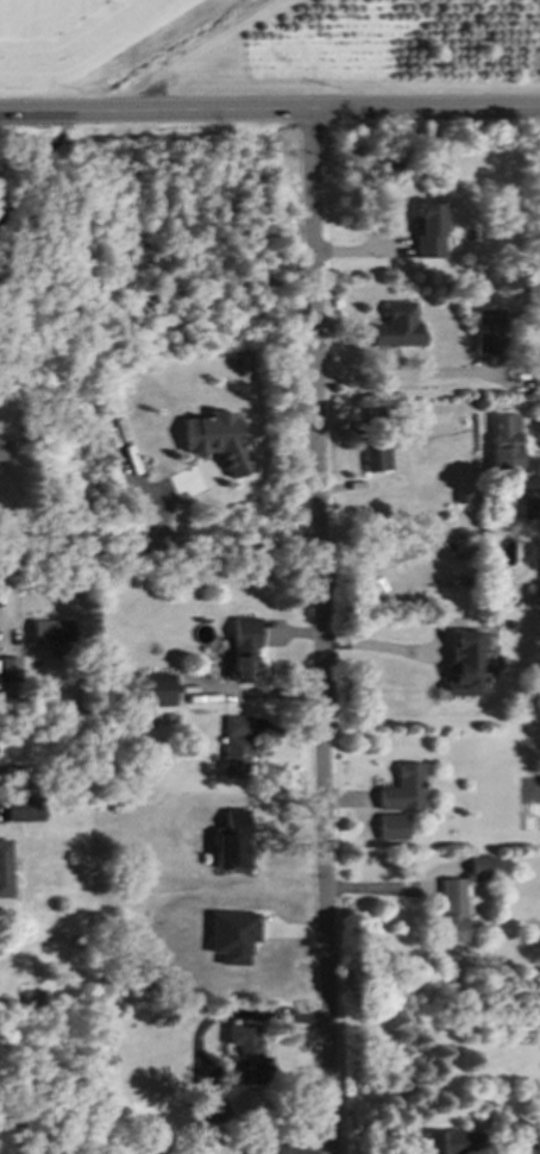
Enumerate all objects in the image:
crop: (265, 42)
road: (270, 112)
building: (427, 228)
building: (395, 325)
building: (488, 330)
road: (401, 372)
building: (376, 421)
building: (502, 437)
building: (218, 441)
building: (4, 446)
building: (370, 453)
building: (457, 495)
building: (526, 504)
road: (156, 546)
building: (50, 629)
road: (315, 633)
road: (379, 646)
building: (239, 652)
building: (461, 661)
building: (7, 669)
building: (151, 692)
building: (234, 744)
building: (406, 785)
building: (21, 807)
building: (393, 827)
building: (233, 842)
building: (2, 864)
building: (479, 866)
building: (454, 907)
building: (232, 936)
building: (29, 995)
building: (112, 1009)
building: (238, 1059)
building: (205, 1115)
building: (445, 1141)
building: (262, 1147)

